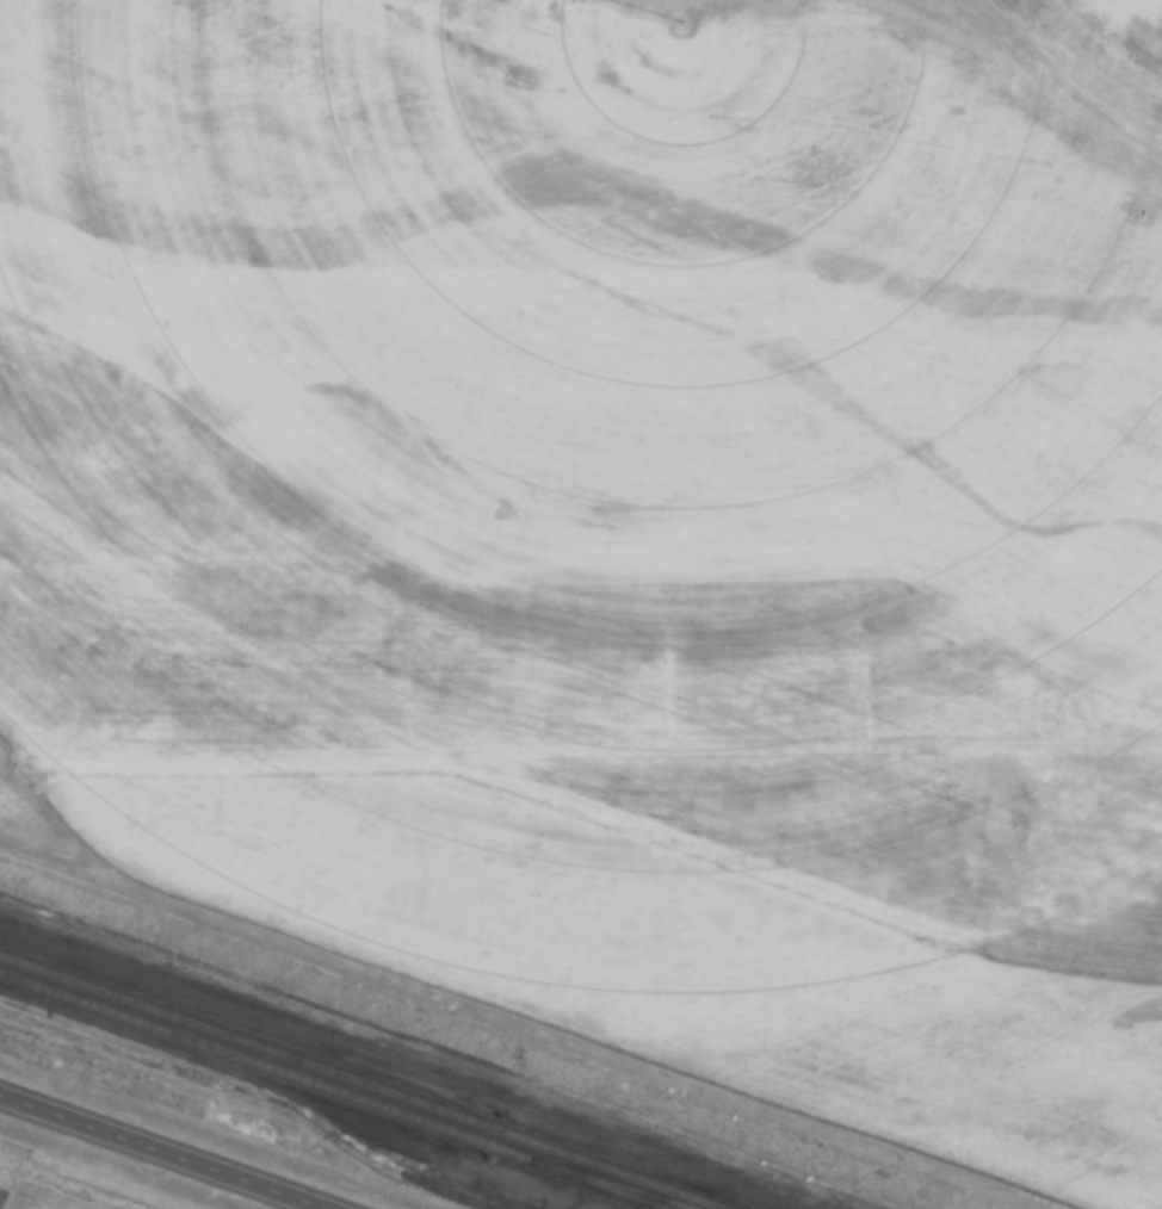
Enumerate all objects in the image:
railway: (361, 1081)
railway: (336, 1091)
road: (163, 1152)
railway: (608, 1183)

